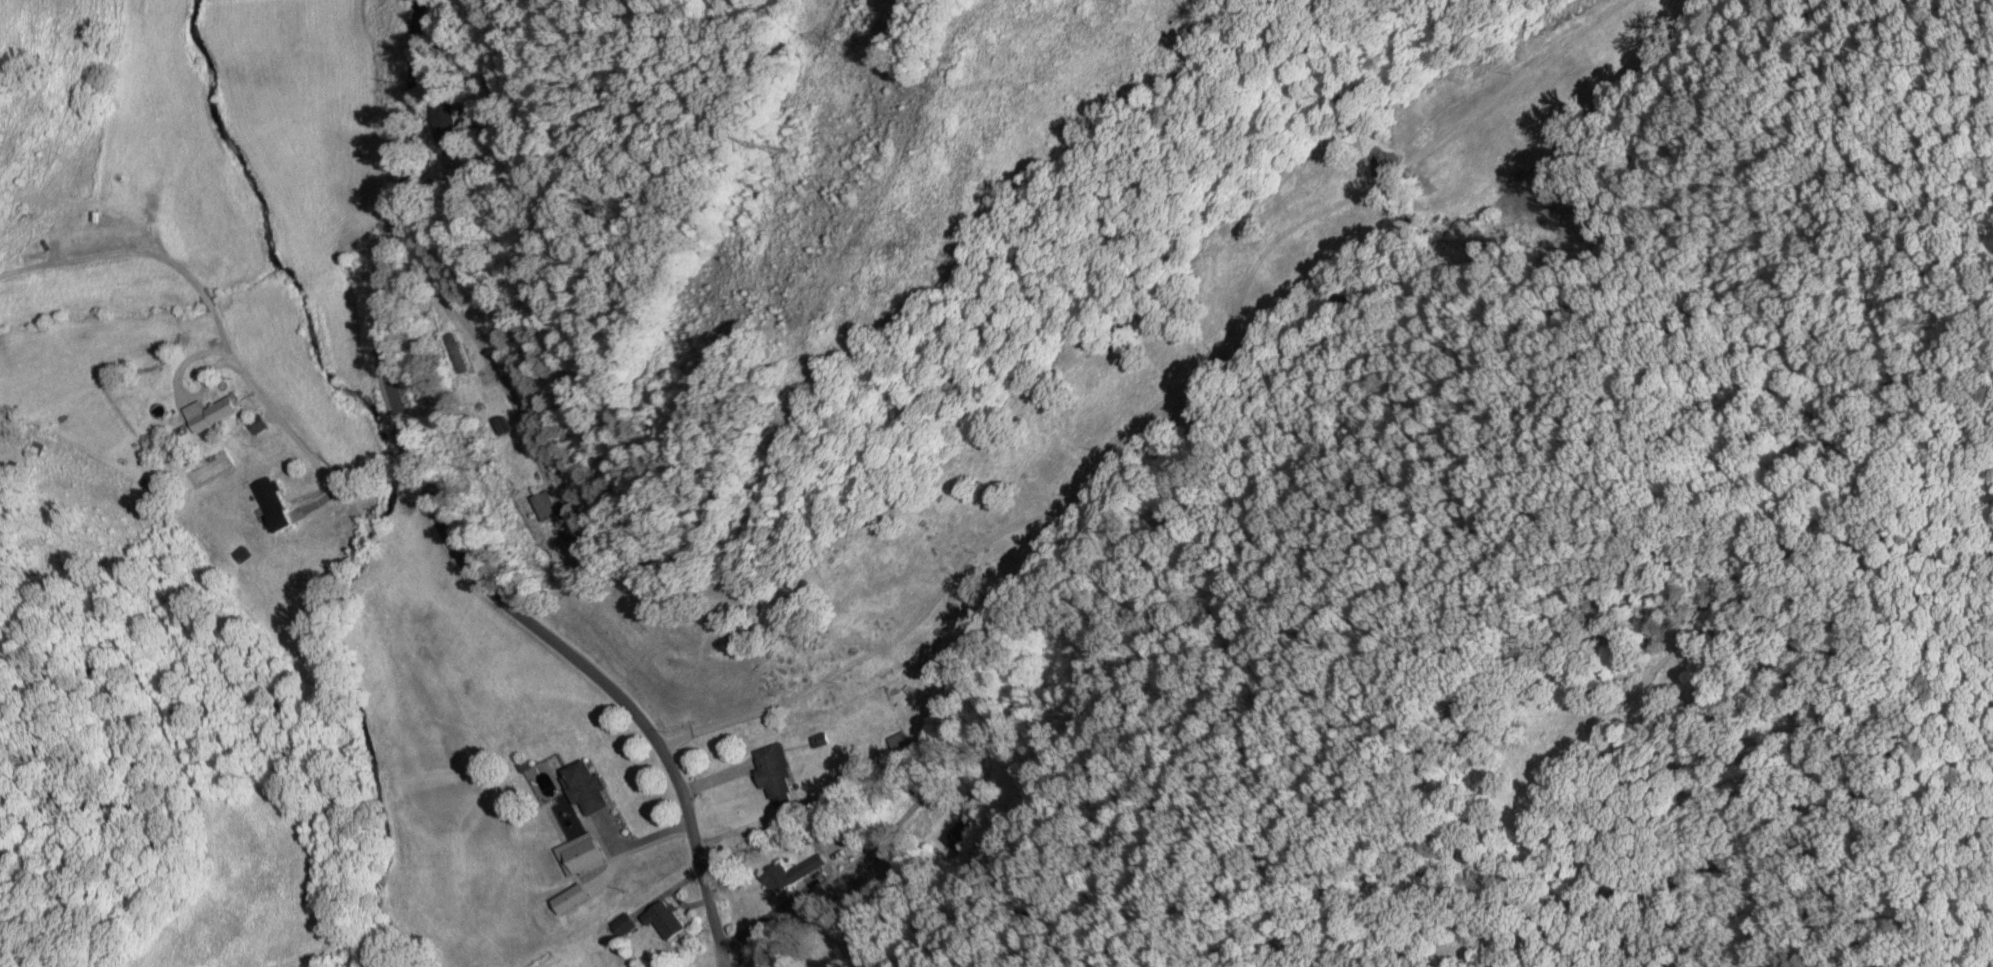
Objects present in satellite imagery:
road: (660, 71)
building: (446, 124)
building: (94, 236)
building: (34, 257)
road: (229, 335)
building: (1217, 374)
building: (221, 413)
building: (261, 423)
building: (39, 447)
building: (278, 505)
building: (550, 506)
road: (444, 528)
building: (900, 745)
building: (778, 771)
building: (590, 787)
building: (790, 877)
building: (670, 920)
building: (629, 924)

